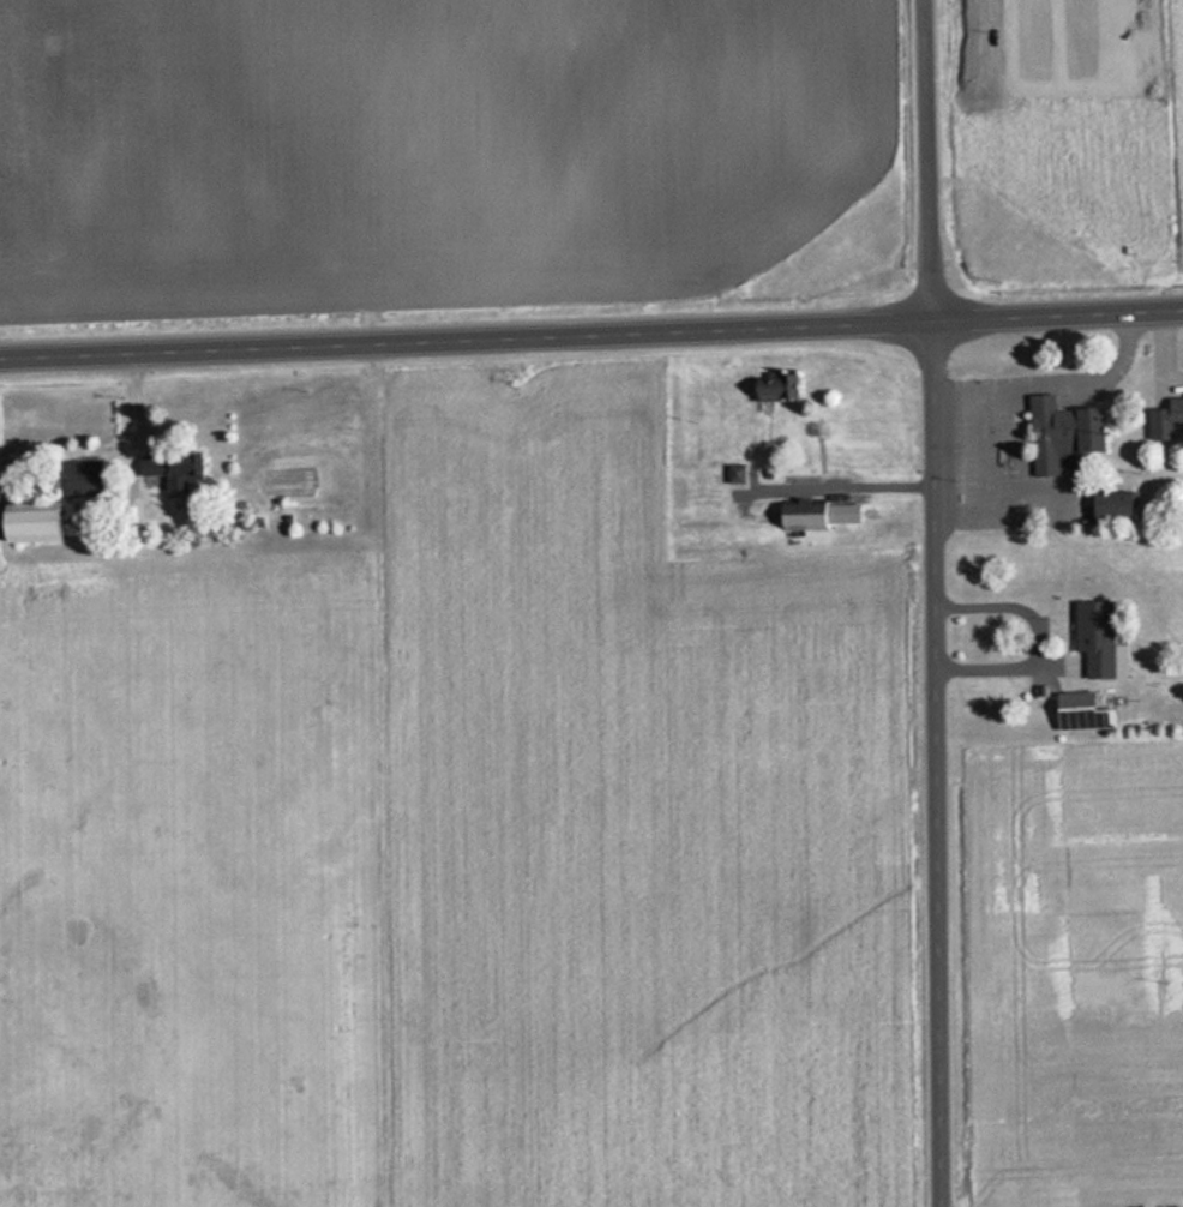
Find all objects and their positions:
road: (932, 161)
road: (591, 336)
building: (774, 390)
building: (1165, 419)
building: (1057, 433)
building: (168, 468)
building: (733, 475)
building: (80, 479)
building: (1110, 506)
building: (800, 514)
building: (30, 523)
building: (1093, 637)
road: (941, 764)

